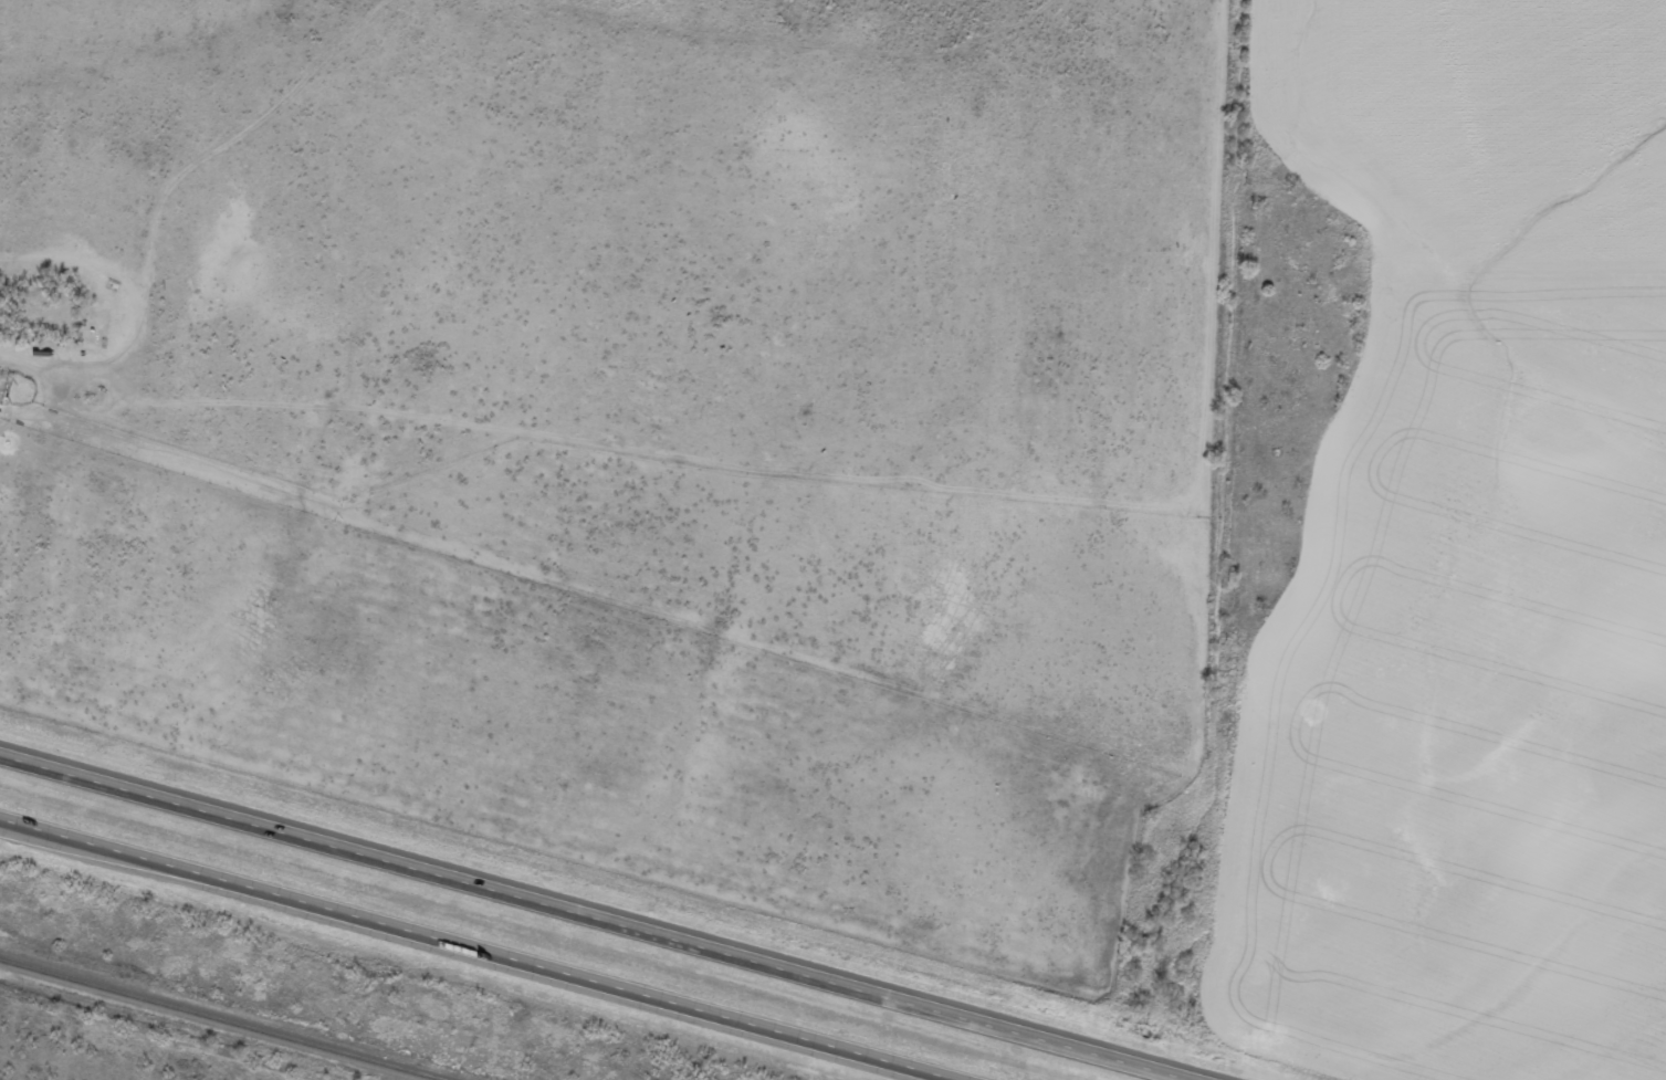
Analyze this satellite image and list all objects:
road: (619, 901)
road: (480, 953)
railway: (208, 1024)

